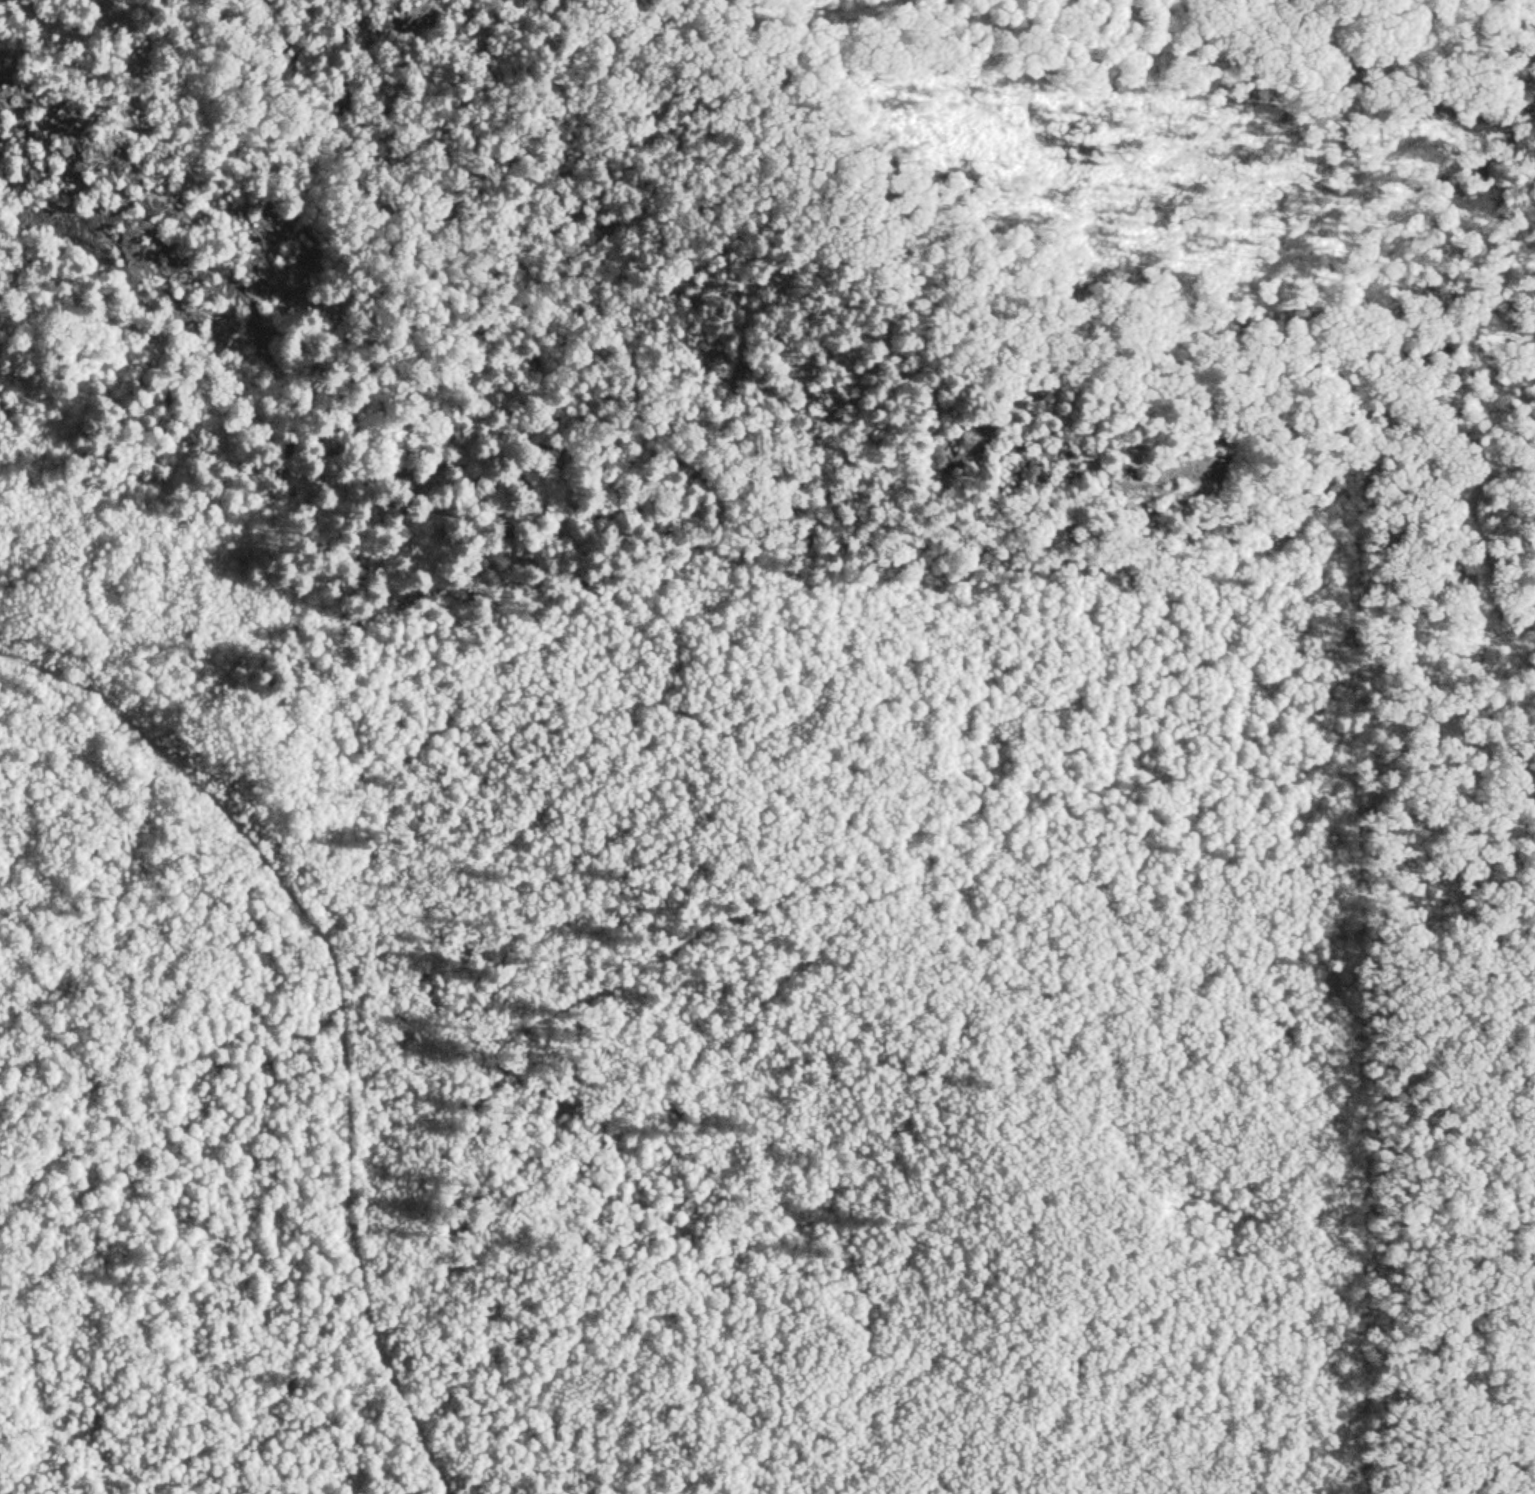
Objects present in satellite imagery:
road: (337, 1005)
road: (1462, 1356)

